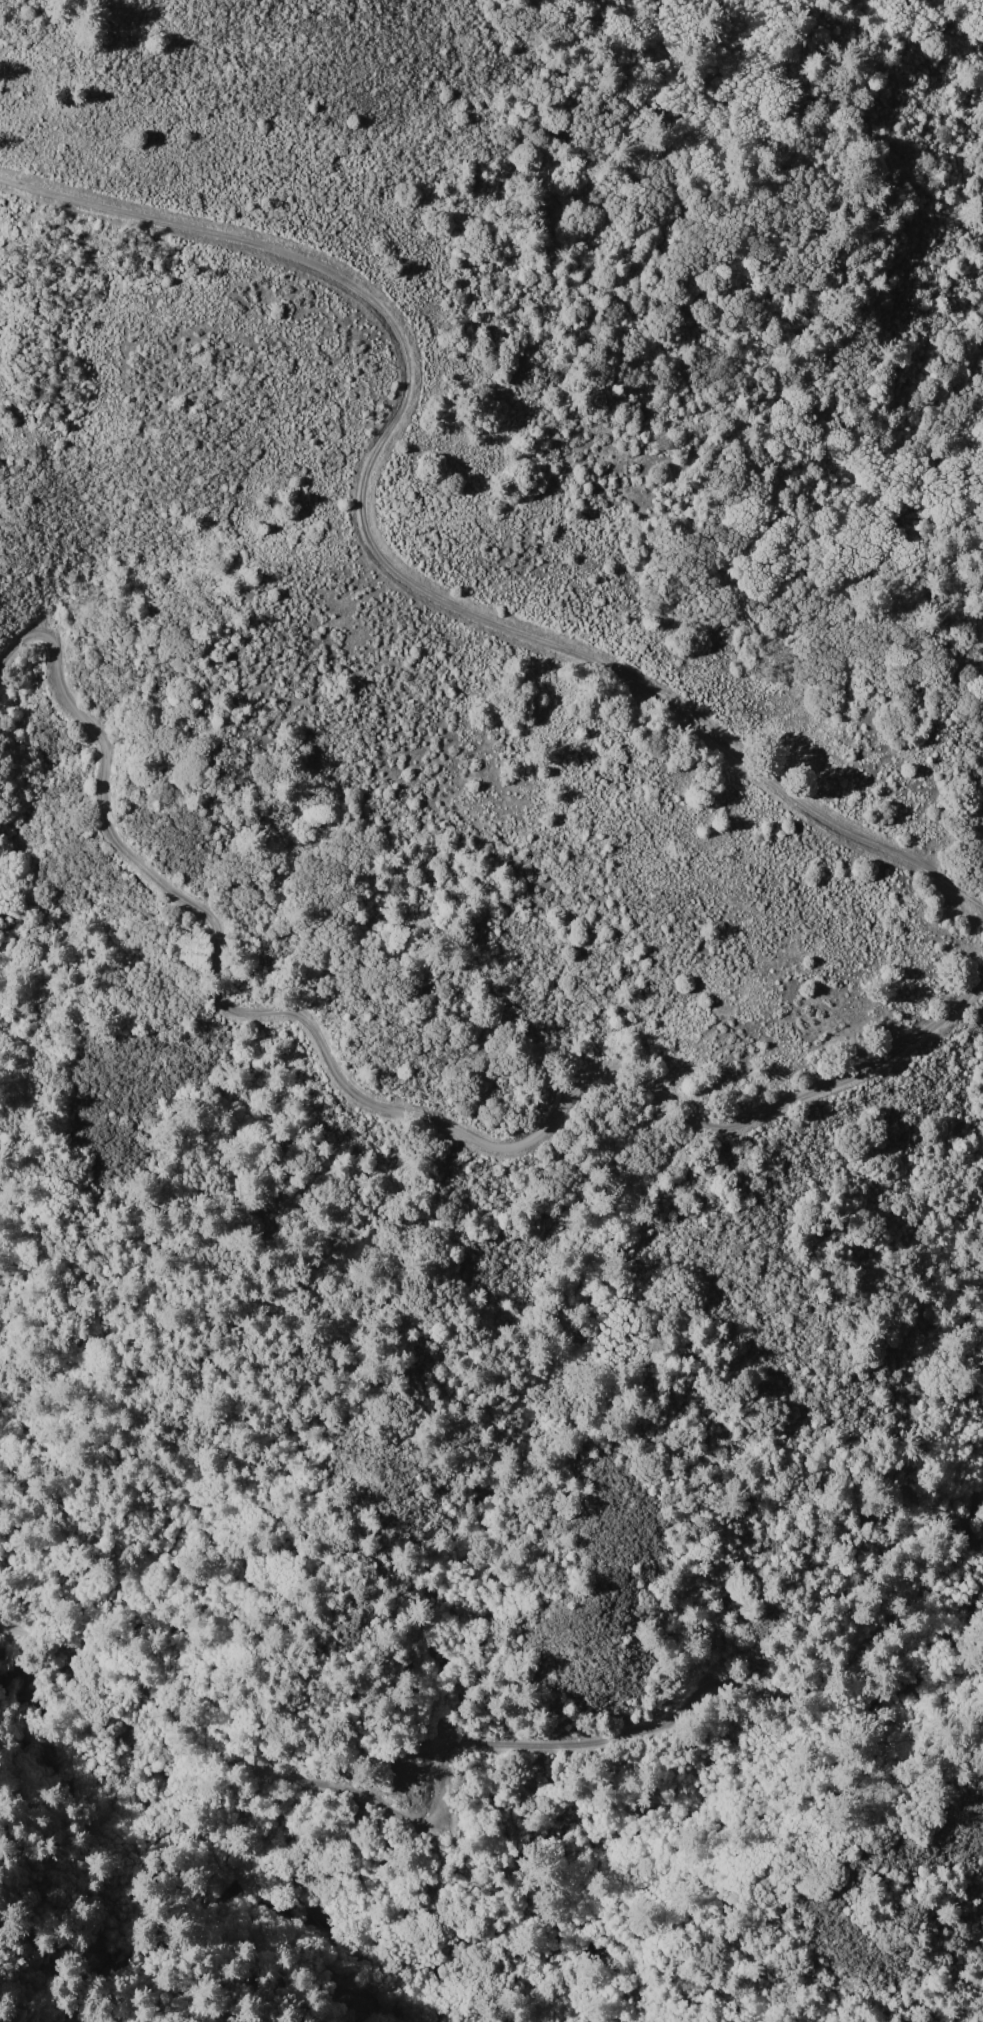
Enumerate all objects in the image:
road: (390, 563)
road: (381, 1104)
road: (464, 1743)

